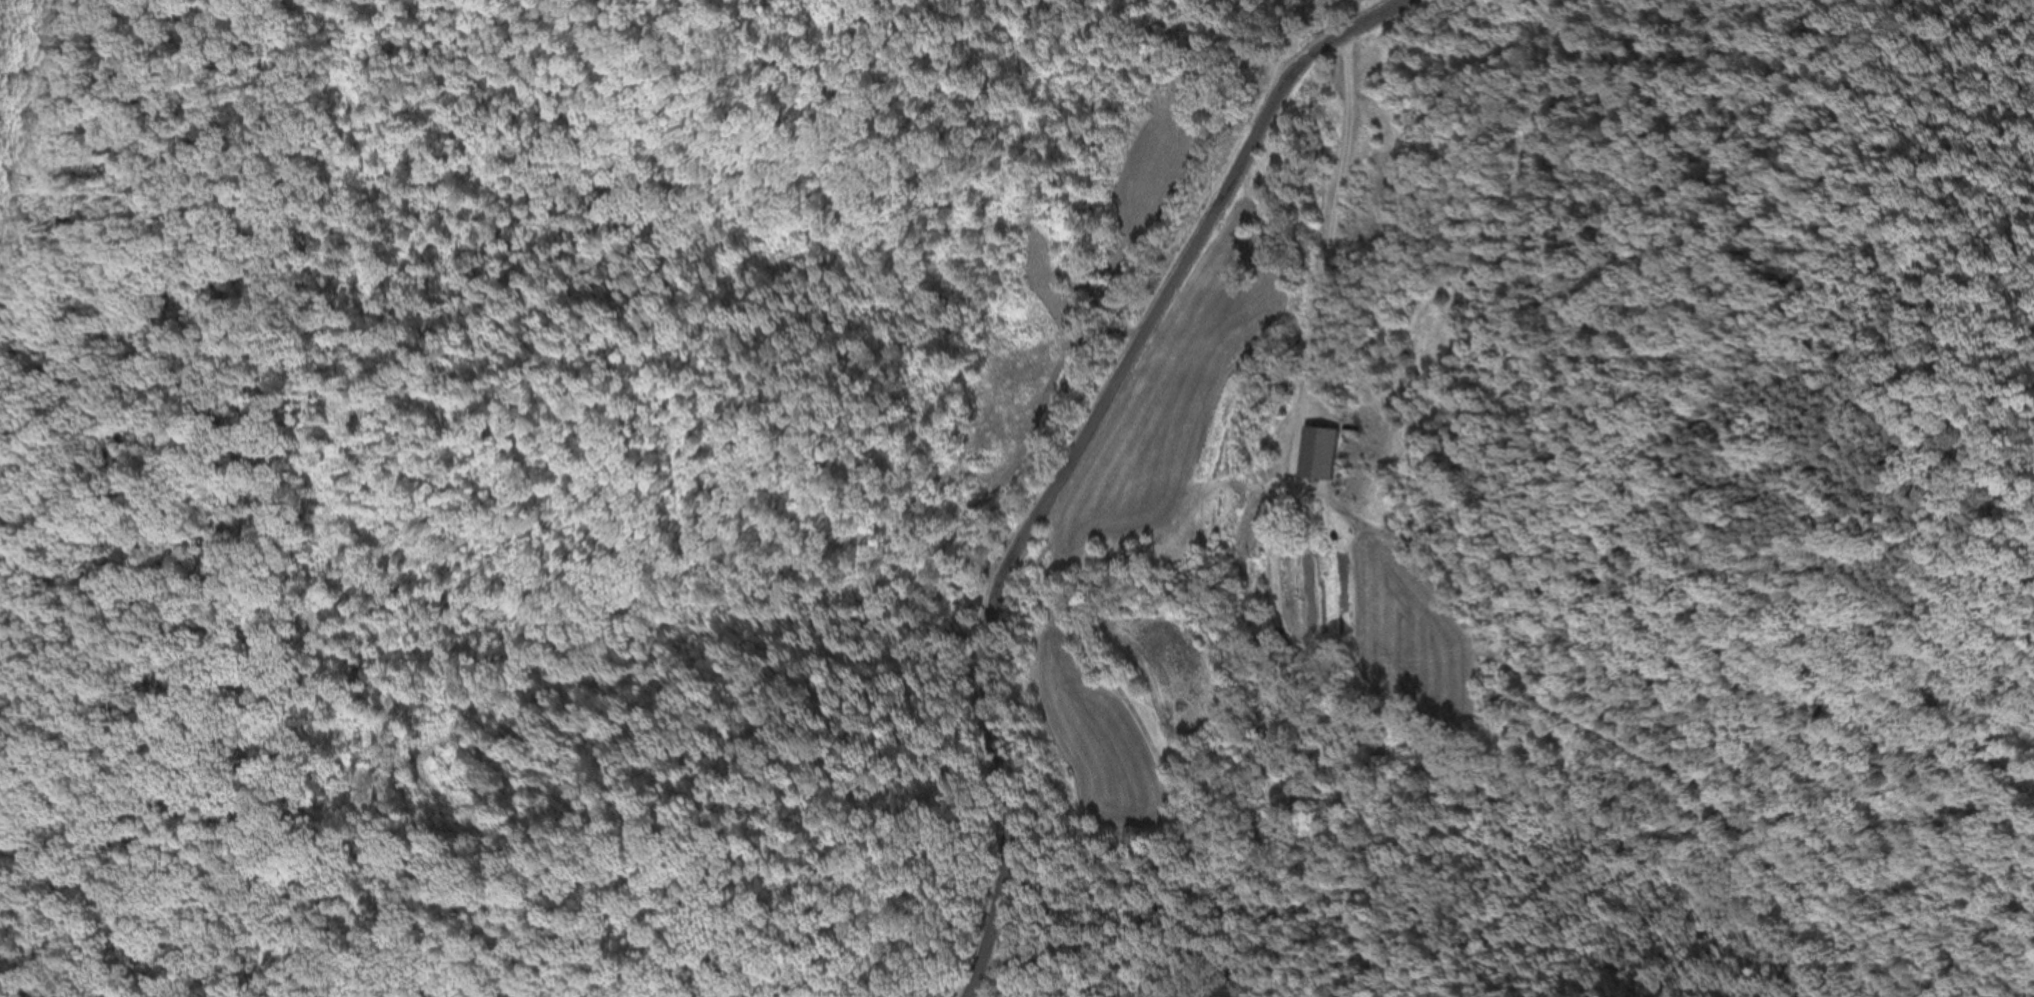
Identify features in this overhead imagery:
road: (1330, 222)
road: (1071, 452)

